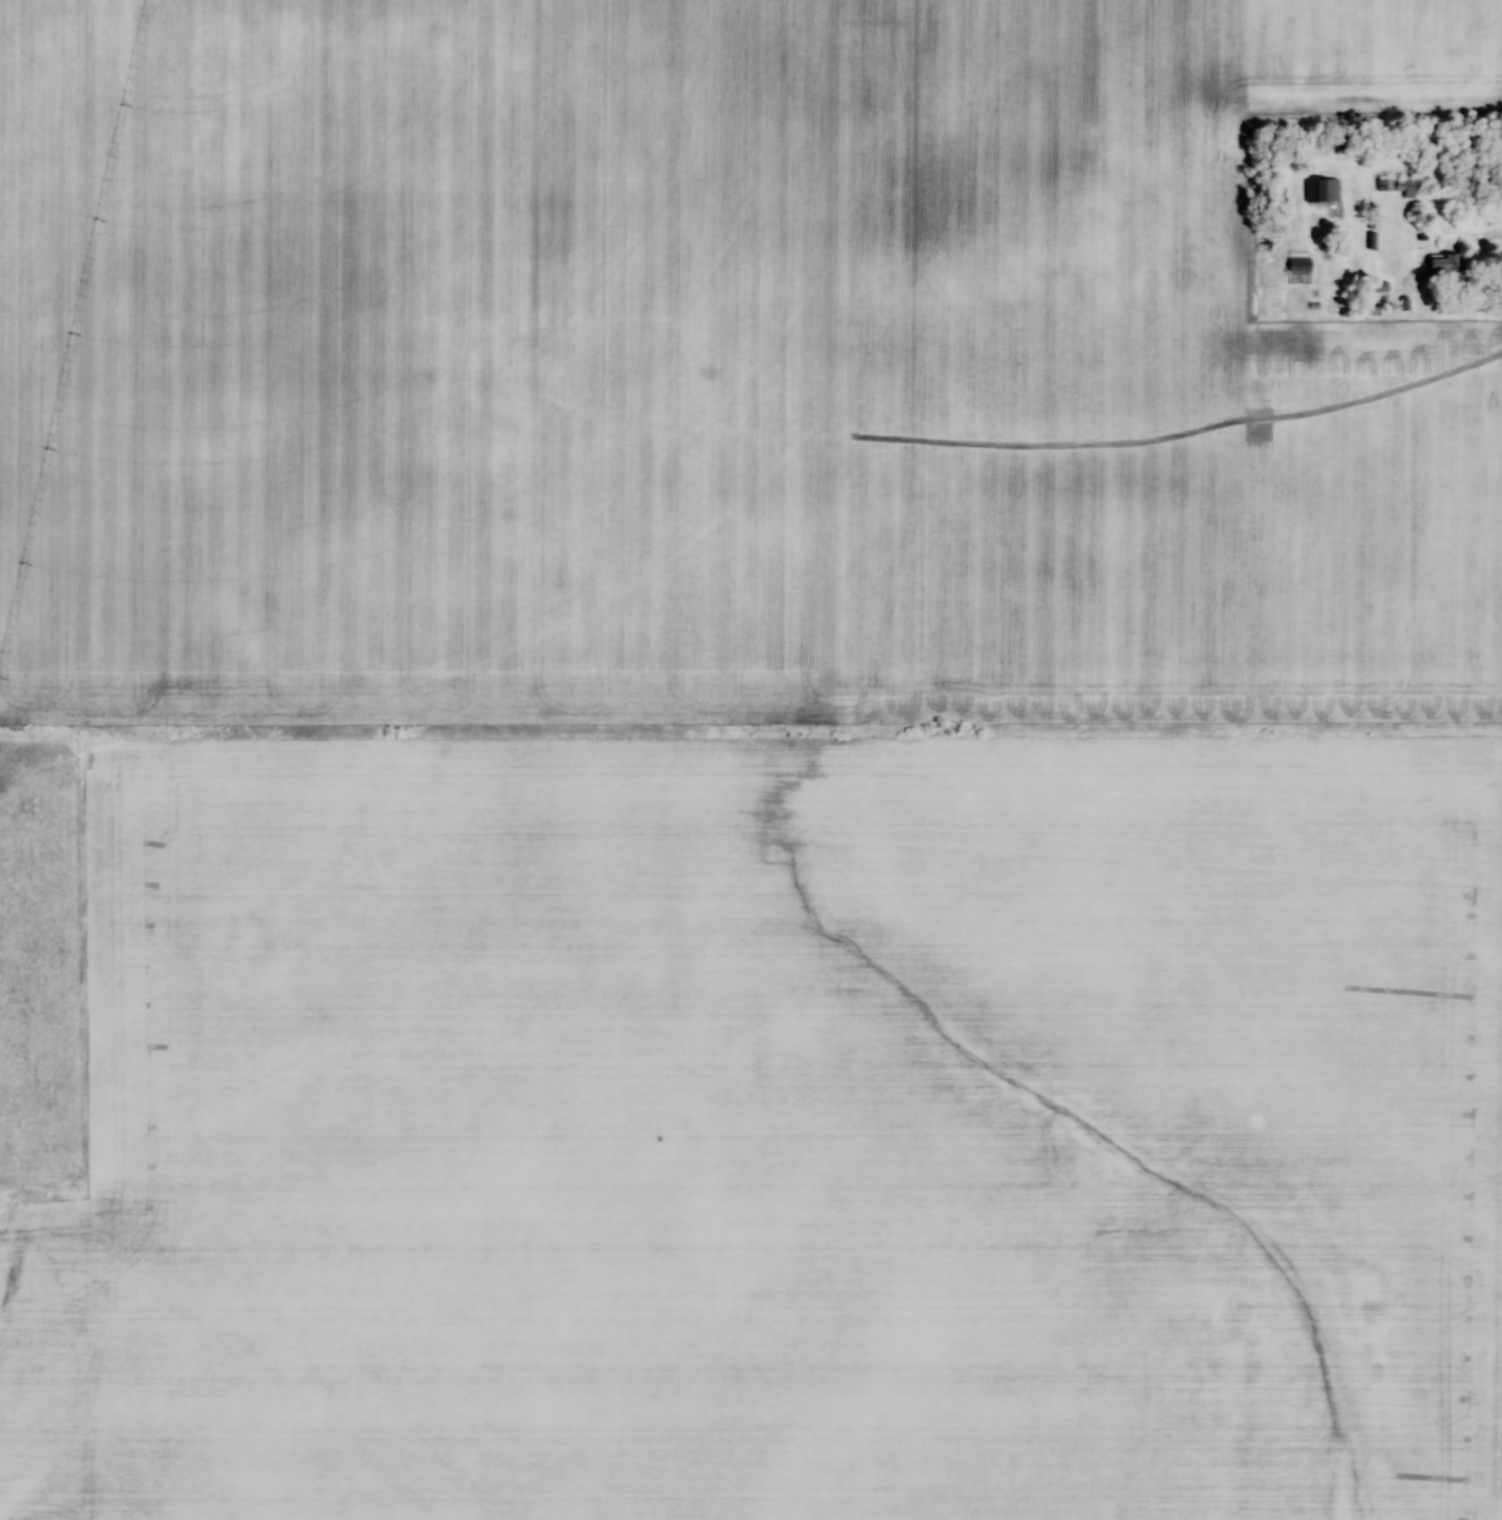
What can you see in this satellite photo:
building: (1325, 188)
building: (1413, 188)
building: (1448, 263)

